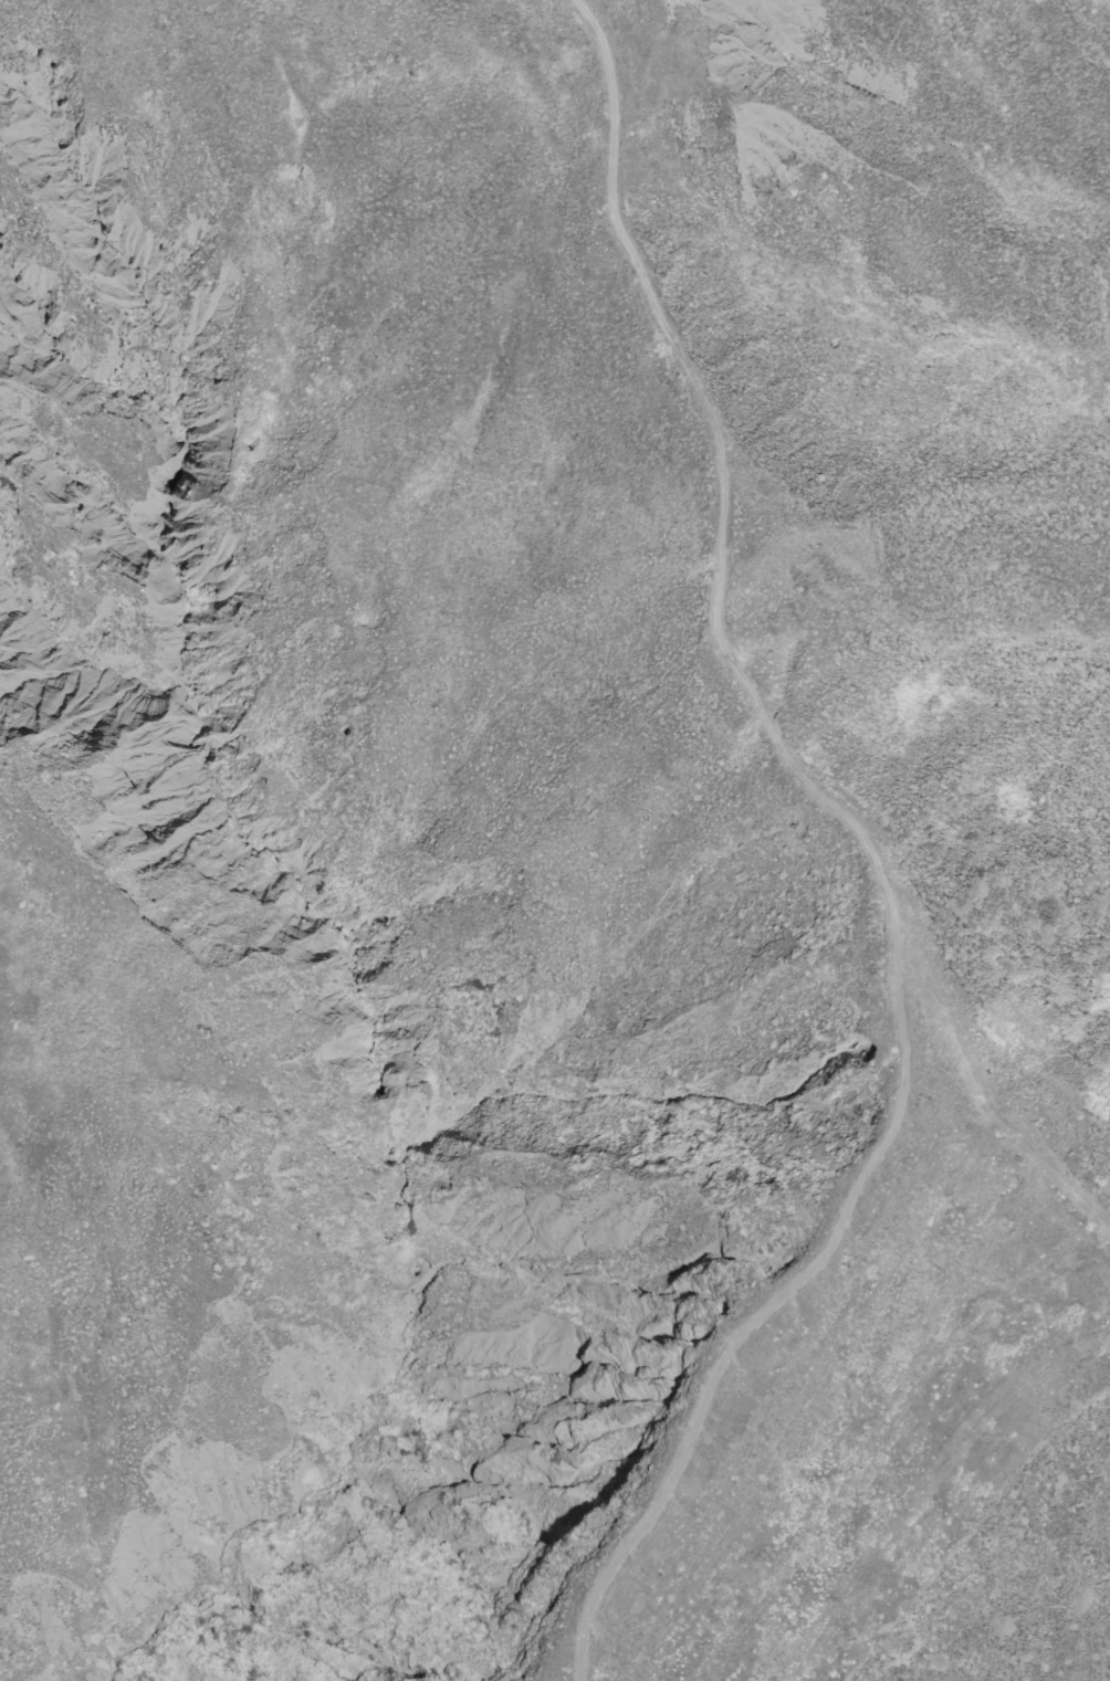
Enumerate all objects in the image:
road: (868, 849)

